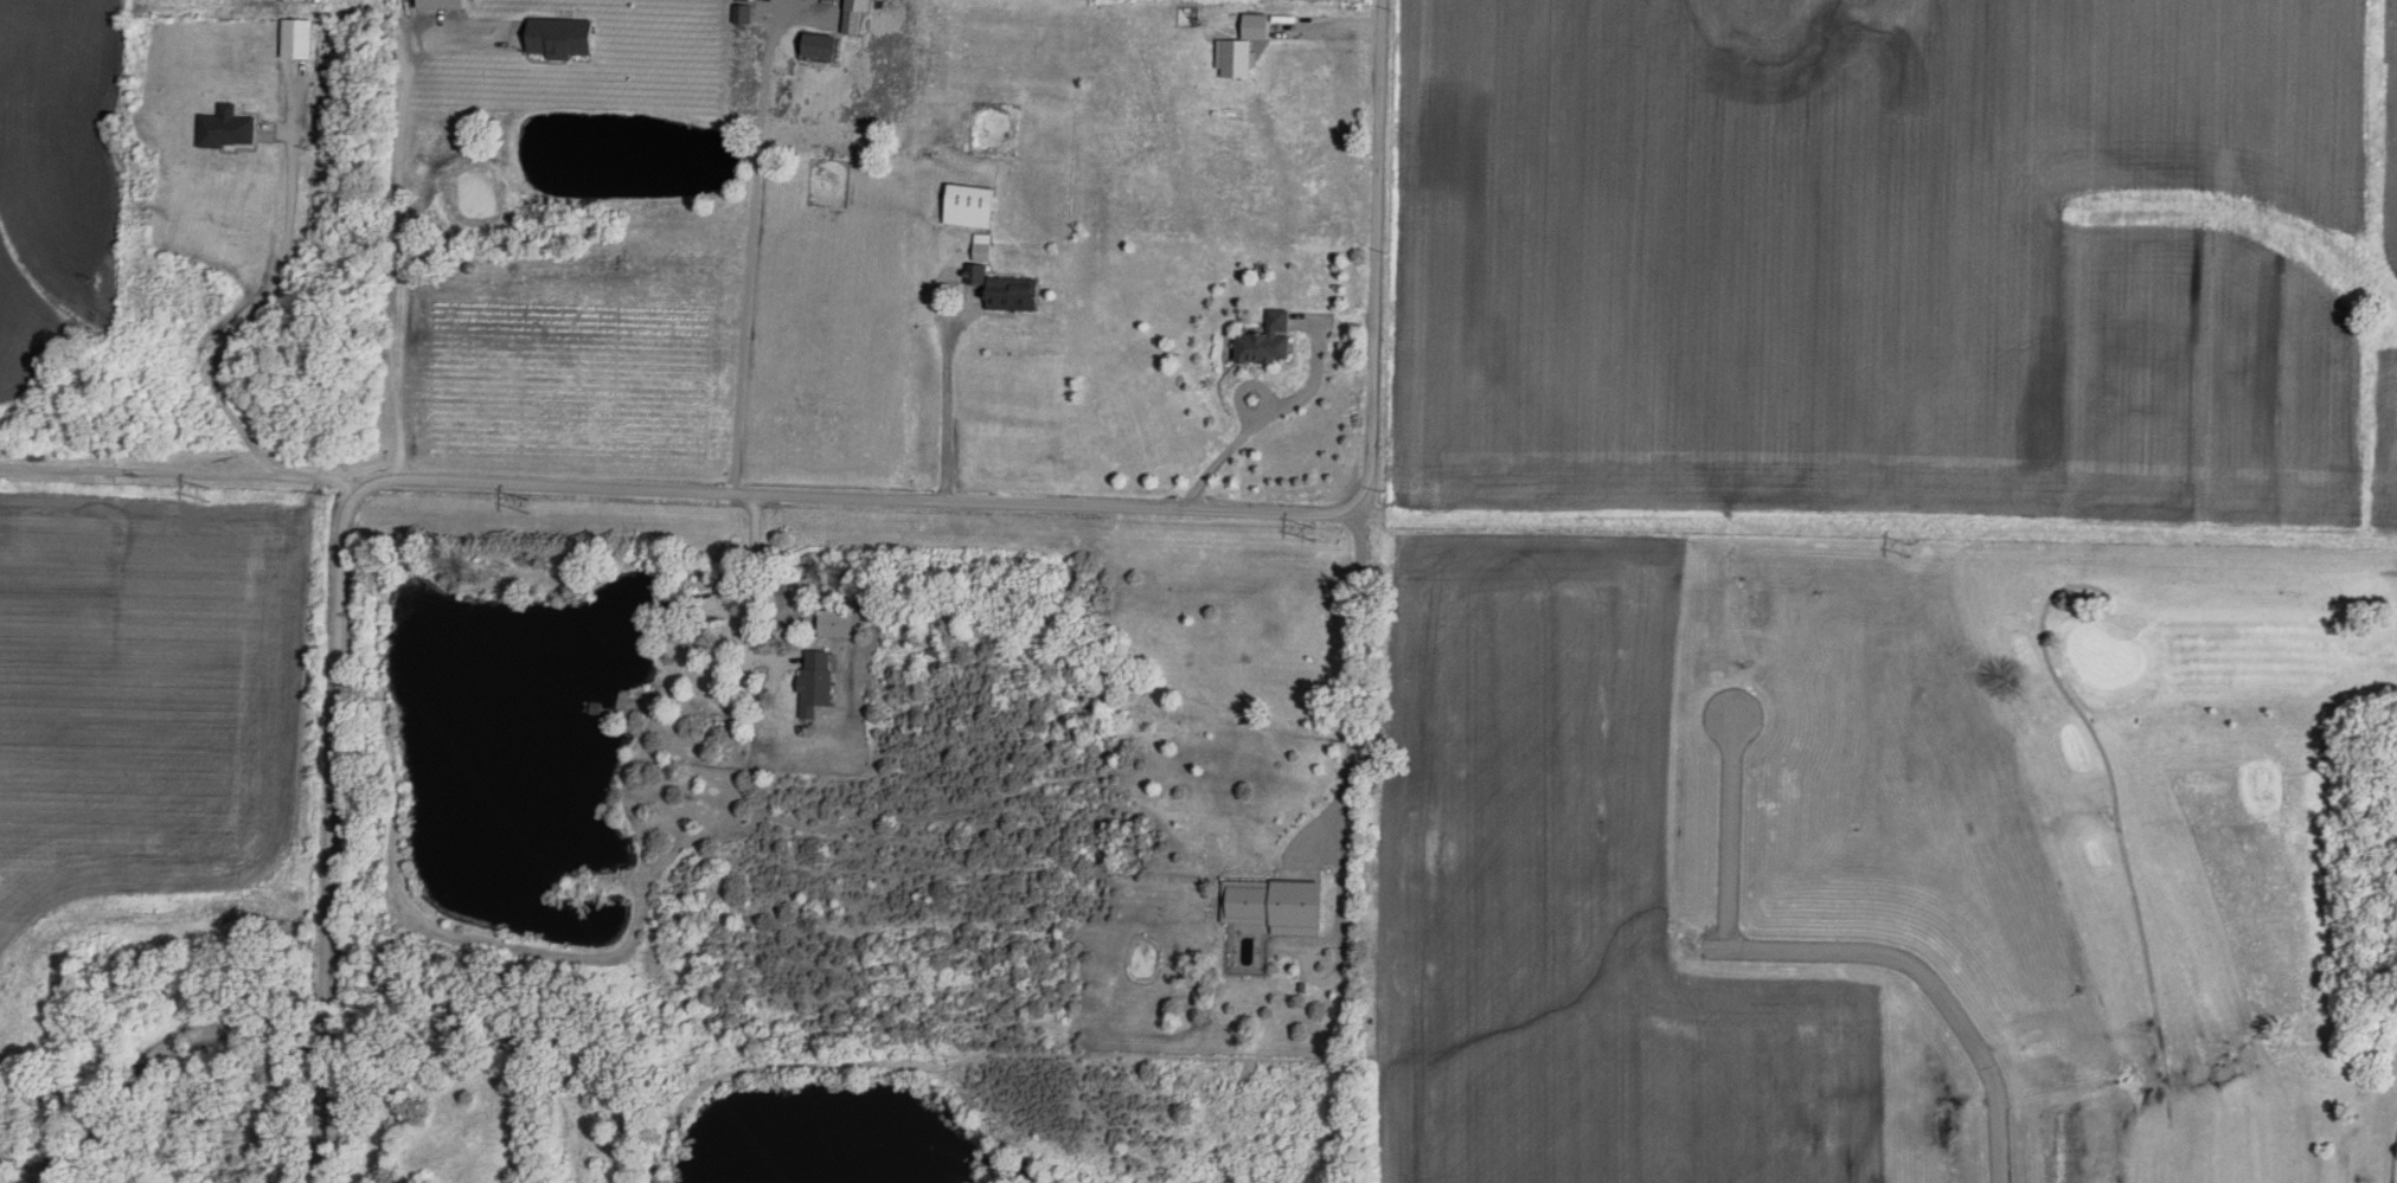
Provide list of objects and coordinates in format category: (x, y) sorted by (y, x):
building: (851, 21)
building: (296, 39)
building: (816, 46)
building: (226, 129)
building: (982, 247)
crop: (1895, 270)
building: (1002, 290)
building: (1265, 341)
road: (714, 463)
power tower: (210, 503)
power tower: (536, 512)
power tower: (1301, 535)
power tower: (1909, 555)
building: (814, 681)
crop: (150, 727)
park: (2187, 822)
crop: (1563, 894)
road: (1821, 963)

